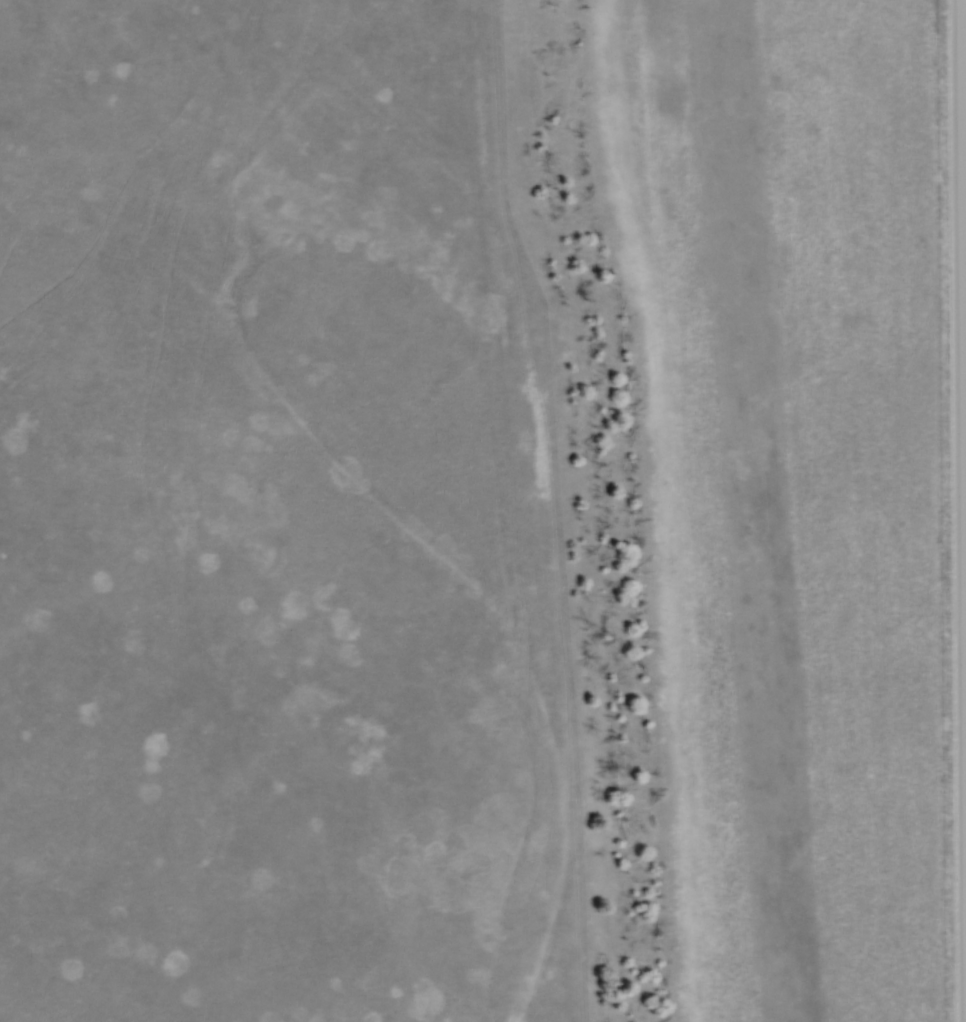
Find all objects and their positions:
road: (962, 417)
crop: (781, 487)

